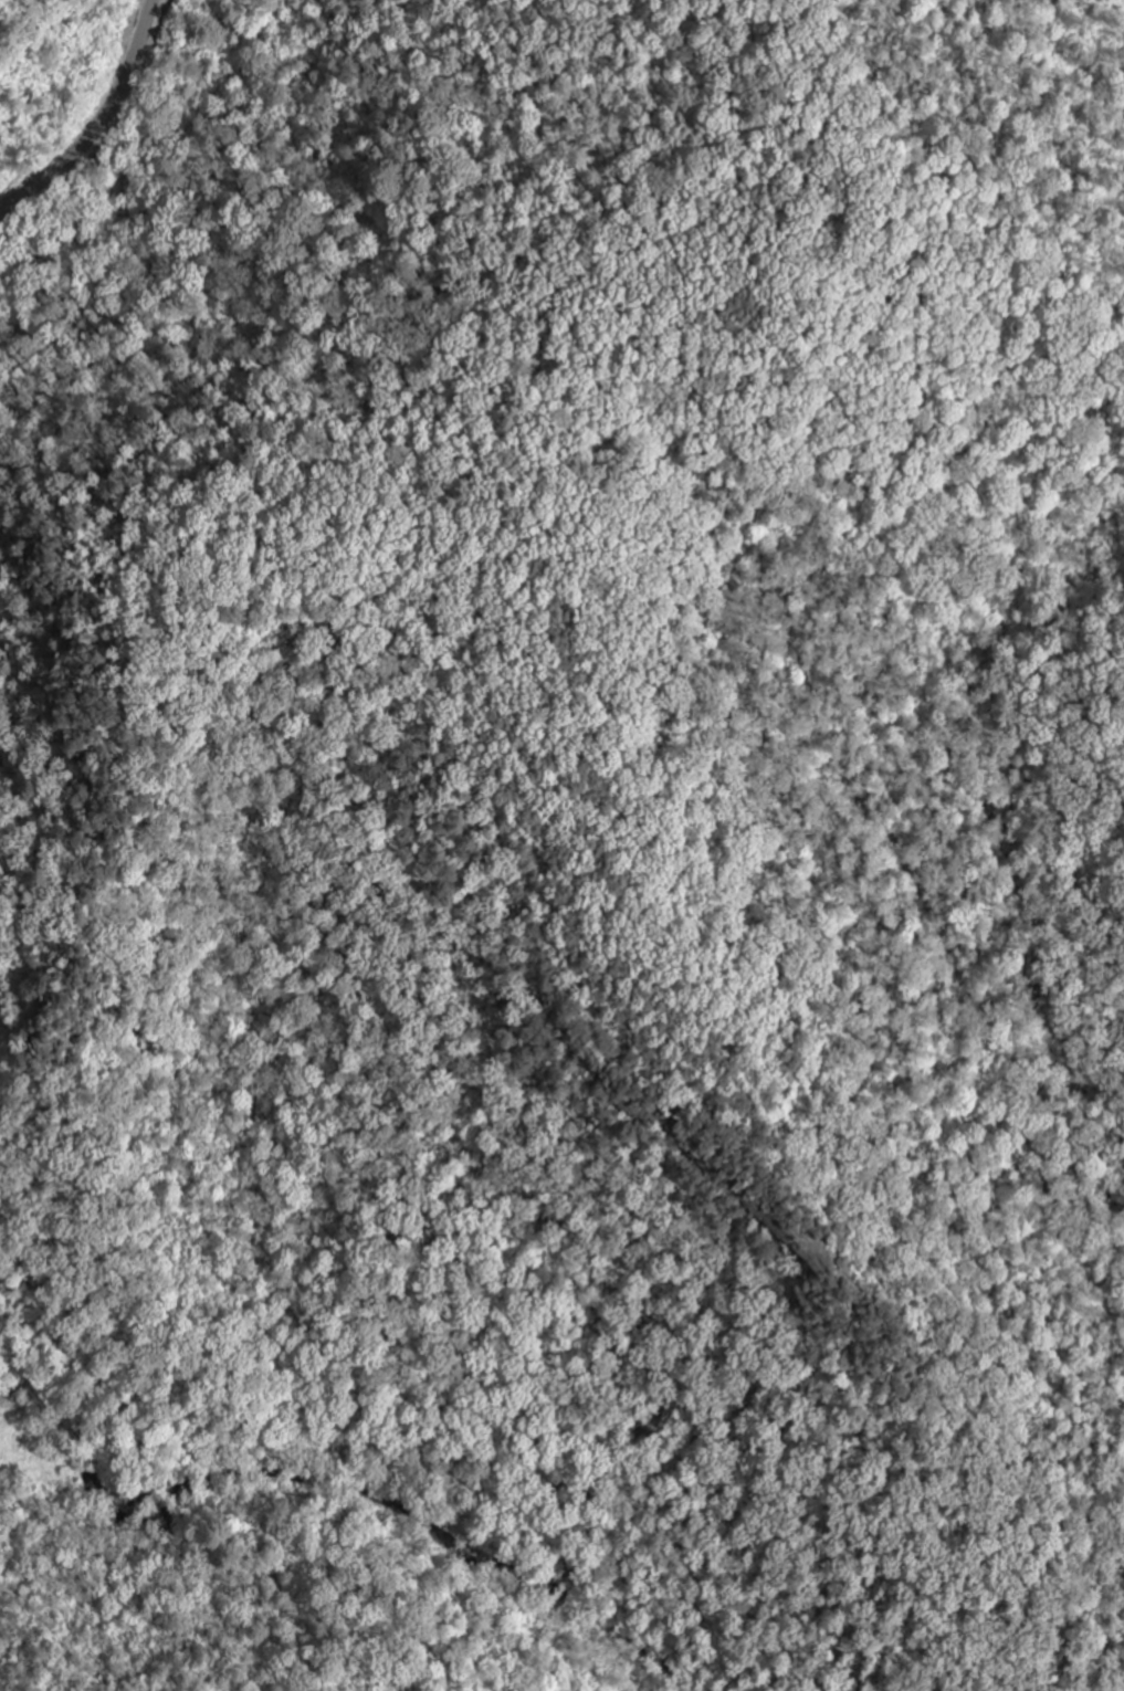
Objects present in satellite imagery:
road: (101, 123)
road: (810, 672)
road: (491, 1420)

